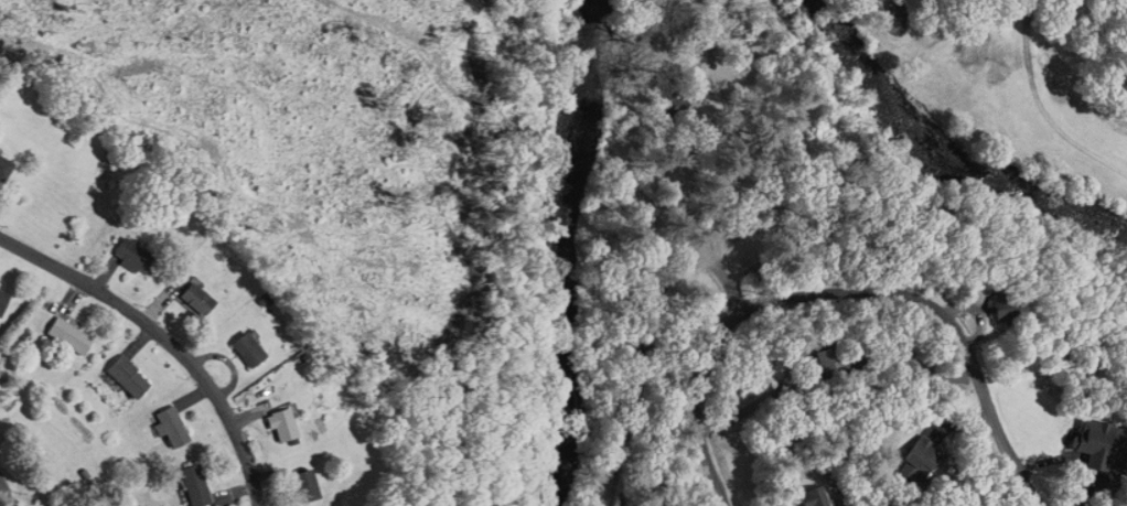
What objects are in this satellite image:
building: (672, 107)
road: (732, 141)
river: (946, 147)
building: (6, 165)
building: (914, 223)
building: (137, 252)
river: (567, 252)
building: (197, 294)
road: (845, 294)
building: (3, 300)
building: (1000, 302)
building: (72, 333)
road: (165, 337)
building: (250, 346)
building: (647, 353)
building: (831, 355)
building: (128, 375)
building: (286, 422)
building: (174, 424)
building: (1093, 444)
building: (921, 457)
building: (196, 484)
building: (308, 484)
road: (4, 493)
building: (817, 494)
building: (56, 505)

